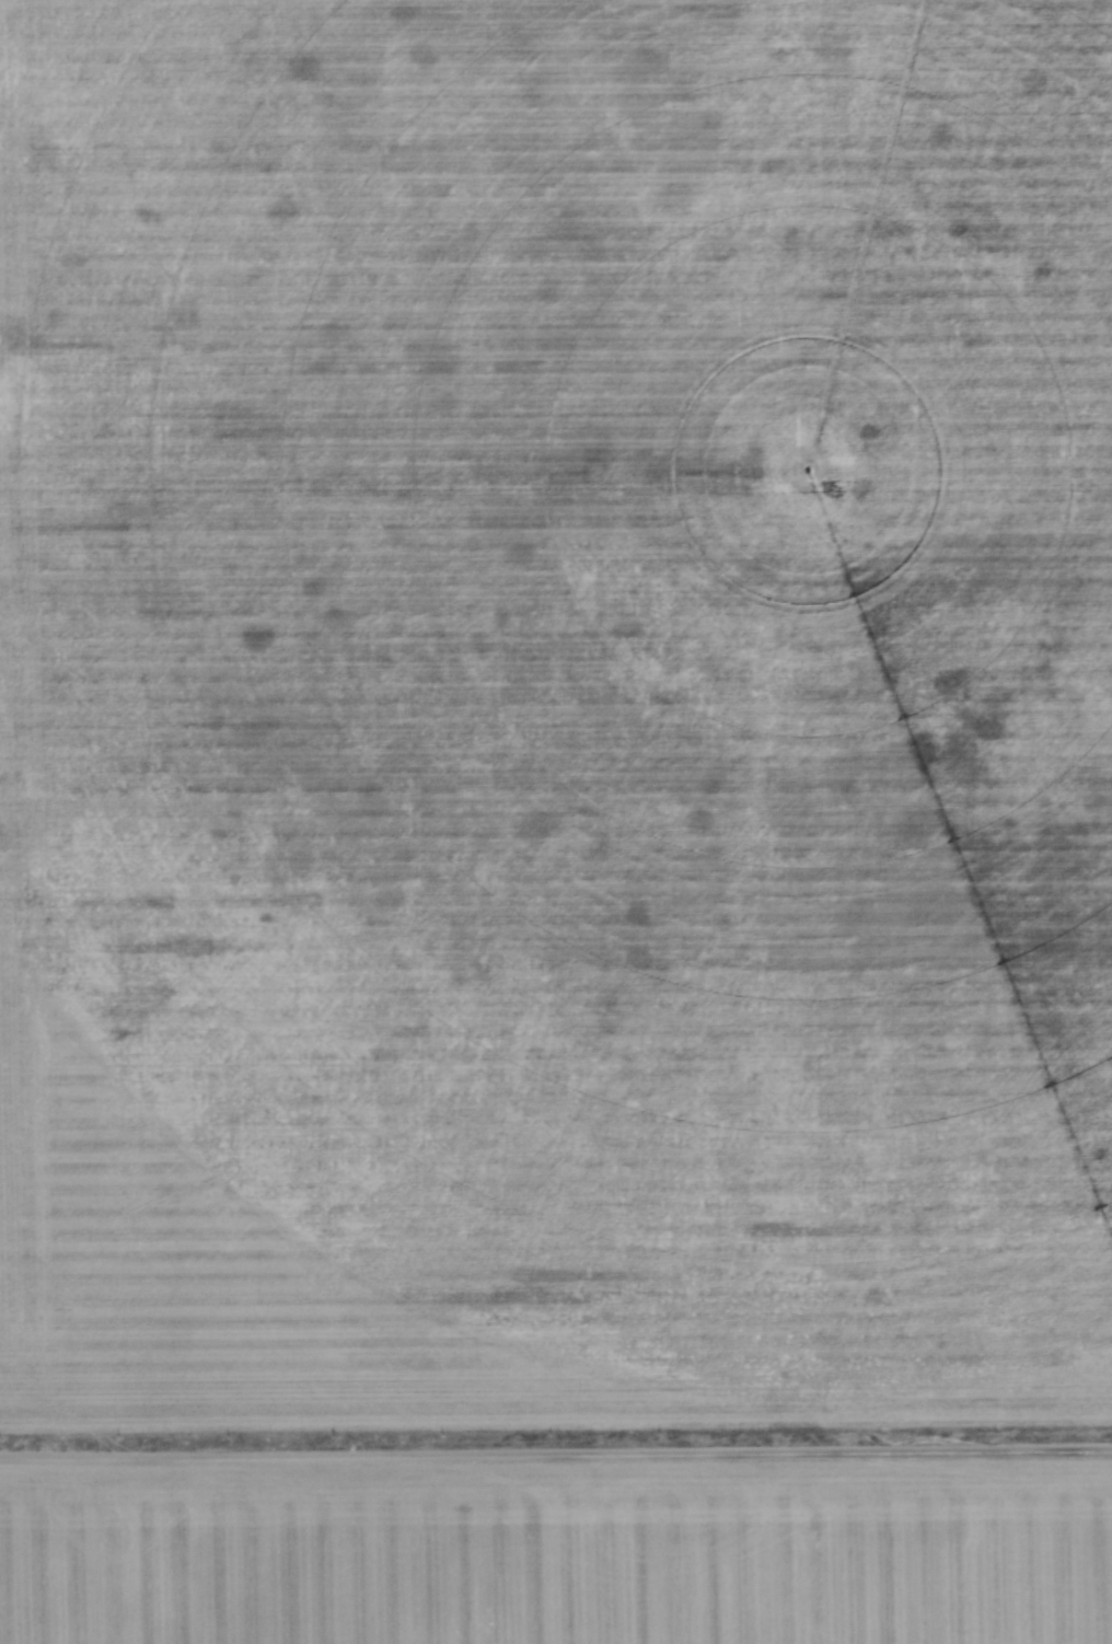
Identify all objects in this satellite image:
road: (556, 1455)
crop: (559, 1552)

